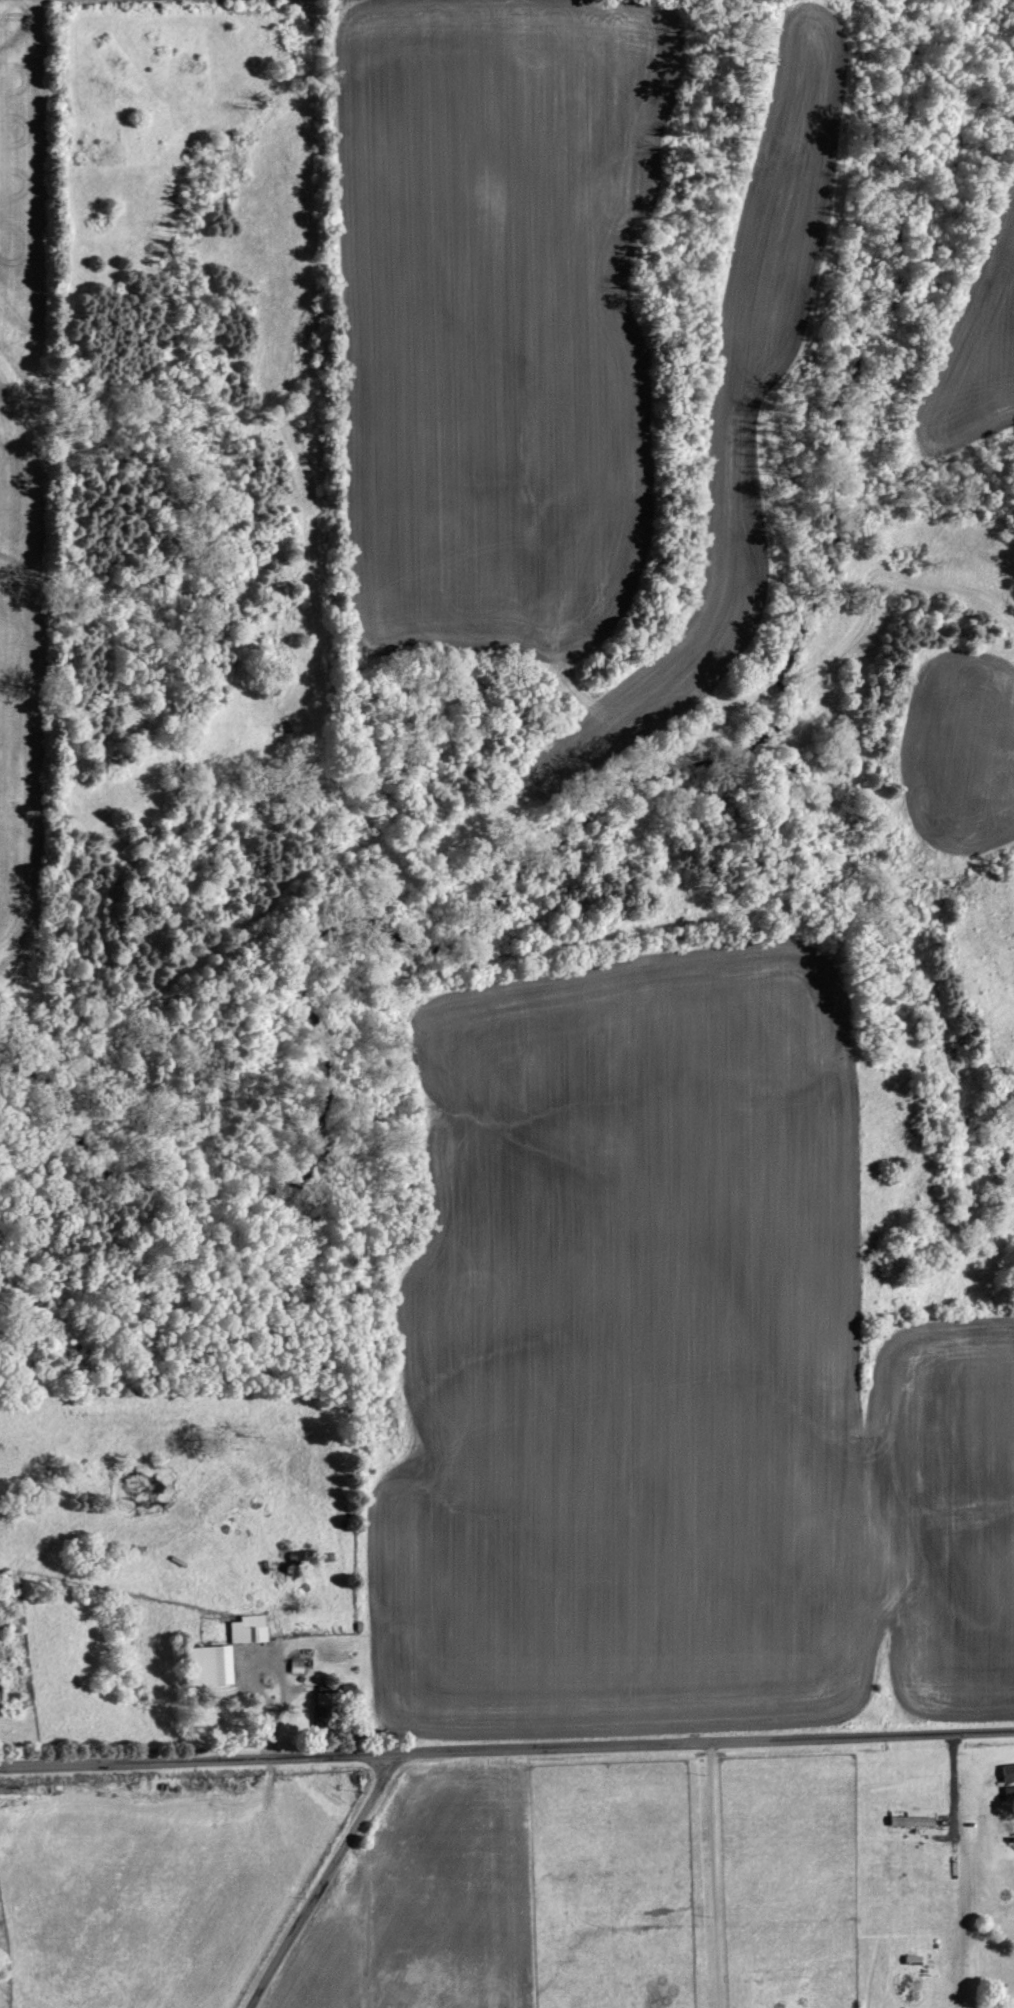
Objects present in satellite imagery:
building: (302, 1559)
building: (251, 1630)
building: (216, 1666)
building: (298, 1666)
building: (327, 1709)
road: (507, 1751)
building: (915, 1822)
road: (710, 1876)
road: (319, 1882)
road: (368, 1920)

